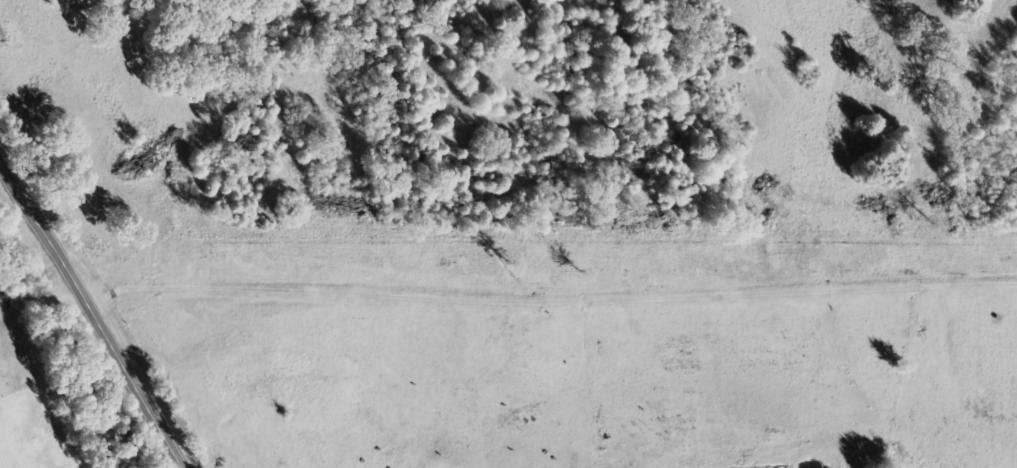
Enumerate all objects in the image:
road: (547, 288)
road: (91, 309)

